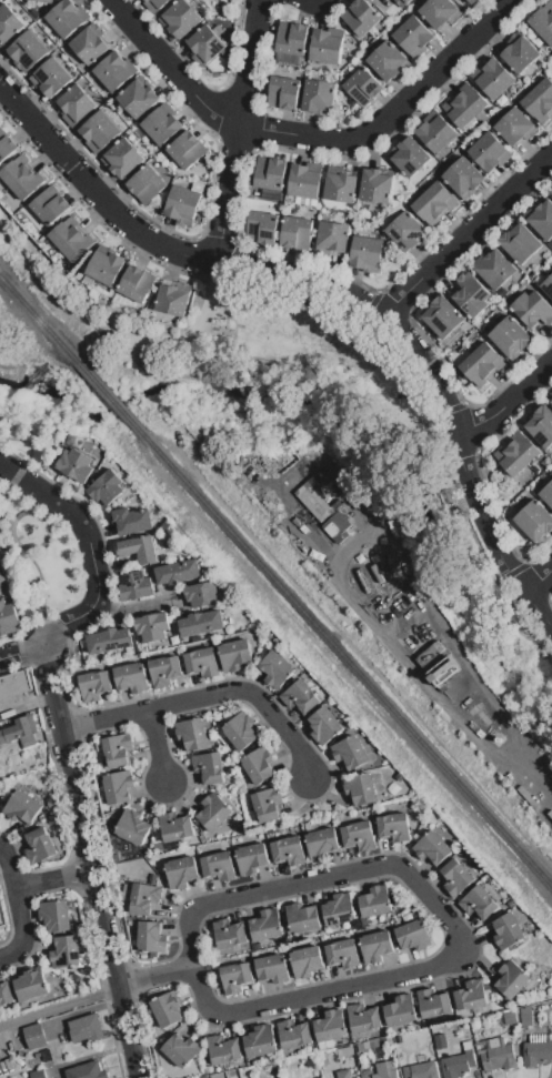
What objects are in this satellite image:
building: (47, 1)
building: (405, 1)
building: (471, 1)
building: (154, 4)
building: (441, 11)
building: (360, 17)
building: (66, 18)
building: (180, 18)
building: (8, 23)
building: (542, 24)
building: (413, 36)
building: (292, 38)
building: (89, 44)
building: (205, 46)
building: (327, 46)
building: (28, 50)
building: (519, 53)
building: (387, 59)
building: (113, 71)
road: (173, 71)
building: (52, 77)
building: (492, 79)
building: (363, 85)
building: (283, 92)
building: (319, 95)
building: (138, 98)
building: (539, 101)
building: (77, 103)
building: (464, 105)
road: (397, 114)
building: (161, 125)
building: (514, 127)
building: (100, 129)
building: (435, 131)
road: (244, 133)
building: (6, 147)
building: (187, 150)
building: (489, 152)
building: (409, 155)
building: (123, 158)
building: (270, 172)
building: (21, 177)
building: (463, 178)
building: (305, 180)
building: (145, 184)
building: (377, 184)
building: (340, 185)
building: (551, 189)
building: (551, 192)
building: (182, 203)
building: (433, 203)
building: (50, 205)
building: (541, 218)
building: (261, 228)
building: (405, 231)
building: (297, 232)
road: (468, 235)
building: (71, 239)
building: (332, 239)
building: (520, 243)
building: (365, 252)
building: (106, 265)
building: (495, 271)
building: (137, 283)
building: (548, 286)
building: (471, 293)
road: (339, 294)
building: (172, 300)
building: (533, 309)
building: (442, 316)
railway: (38, 319)
building: (509, 336)
road: (136, 353)
building: (482, 364)
road: (505, 396)
railway: (108, 397)
building: (551, 402)
building: (541, 425)
building: (515, 453)
building: (76, 465)
building: (106, 487)
building: (546, 493)
building: (312, 501)
road: (8, 517)
building: (131, 521)
building: (534, 521)
building: (334, 524)
building: (138, 548)
road: (98, 571)
building: (177, 572)
building: (3, 581)
road: (538, 582)
building: (134, 587)
building: (202, 594)
building: (8, 618)
building: (201, 623)
building: (152, 626)
building: (109, 639)
building: (234, 654)
building: (430, 655)
railway: (347, 659)
building: (202, 662)
building: (275, 668)
building: (164, 671)
building: (442, 671)
building: (131, 677)
building: (14, 684)
building: (94, 685)
building: (300, 696)
road: (57, 697)
road: (210, 701)
building: (322, 724)
building: (240, 731)
building: (20, 732)
building: (192, 734)
road: (157, 746)
building: (118, 749)
building: (349, 752)
building: (258, 765)
building: (209, 767)
road: (535, 773)
building: (551, 775)
building: (118, 786)
building: (360, 788)
building: (265, 804)
building: (21, 807)
building: (214, 812)
building: (133, 826)
building: (174, 826)
building: (394, 827)
building: (360, 836)
building: (322, 843)
building: (39, 845)
building: (433, 848)
building: (289, 849)
building: (251, 857)
building: (219, 866)
building: (181, 872)
building: (455, 877)
road: (53, 880)
building: (144, 897)
building: (374, 901)
building: (478, 903)
road: (19, 906)
building: (339, 909)
building: (54, 915)
road: (101, 917)
building: (302, 917)
building: (265, 925)
building: (508, 930)
building: (229, 934)
building: (413, 935)
building: (0, 936)
building: (151, 937)
building: (375, 946)
building: (66, 950)
building: (343, 953)
building: (305, 961)
road: (448, 965)
building: (272, 968)
road: (158, 977)
building: (235, 977)
building: (513, 979)
building: (30, 985)
building: (6, 994)
building: (471, 995)
building: (433, 1003)
road: (59, 1004)
building: (168, 1009)
building: (401, 1010)
building: (525, 1017)
building: (363, 1018)
building: (510, 1018)
building: (331, 1025)
building: (86, 1028)
building: (294, 1034)
building: (34, 1036)
building: (260, 1040)
building: (440, 1040)
building: (368, 1045)
building: (180, 1049)
building: (223, 1049)
building: (536, 1049)
building: (345, 1051)
building: (495, 1054)
building: (47, 1055)
building: (309, 1062)
building: (458, 1064)
building: (421, 1068)
building: (88, 1070)
building: (379, 1071)
building: (37, 1074)
building: (343, 1074)
building: (358, 1077)

